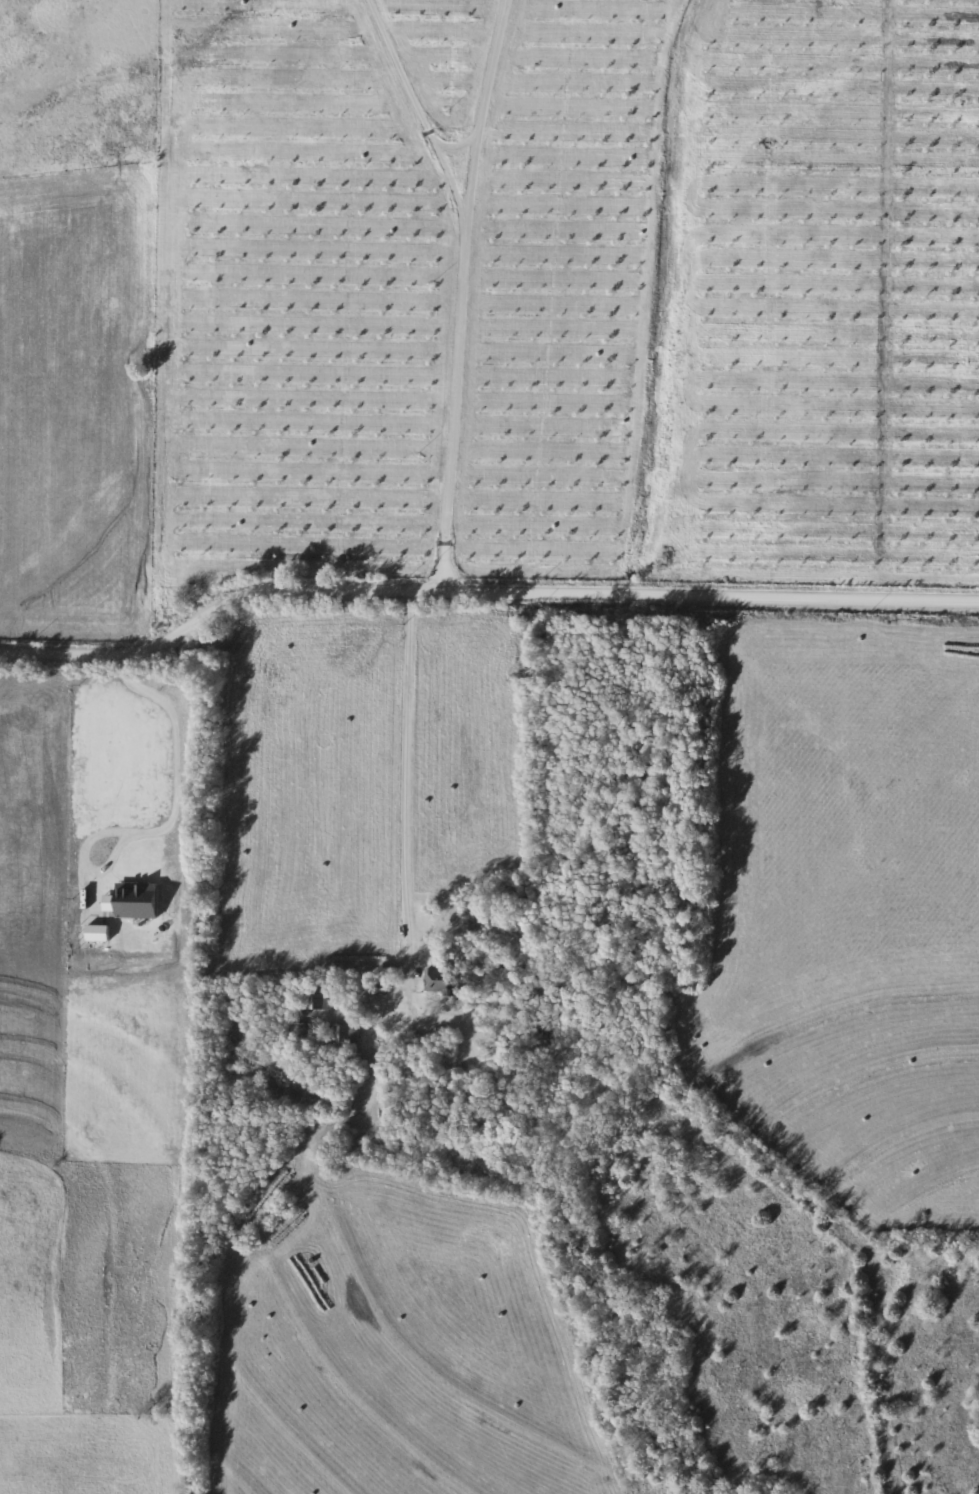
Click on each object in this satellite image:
road: (416, 112)
road: (459, 293)
road: (482, 590)
road: (391, 810)
road: (170, 819)
building: (439, 980)

